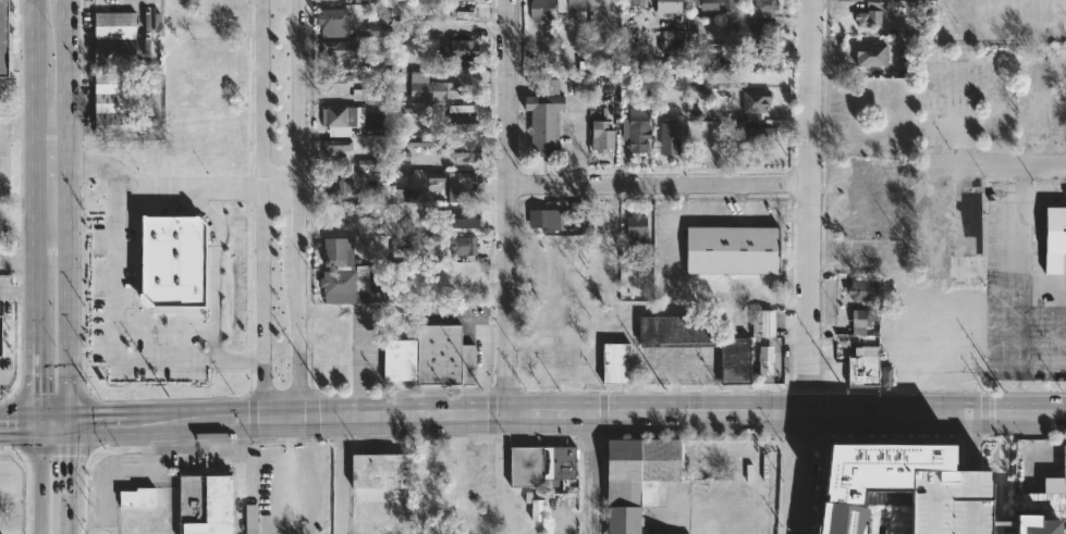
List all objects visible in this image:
building: (462, 0)
building: (638, 2)
building: (710, 4)
building: (665, 5)
building: (549, 8)
building: (759, 8)
building: (463, 11)
building: (869, 16)
building: (332, 17)
park: (1001, 22)
building: (113, 24)
building: (373, 29)
building: (755, 30)
building: (5, 38)
building: (675, 39)
building: (456, 49)
building: (334, 50)
building: (111, 53)
building: (868, 55)
building: (759, 60)
building: (396, 77)
building: (333, 82)
building: (429, 87)
building: (368, 94)
building: (752, 101)
building: (112, 104)
building: (462, 108)
building: (541, 117)
building: (340, 119)
road: (19, 122)
road: (52, 122)
building: (458, 123)
building: (996, 123)
building: (375, 124)
building: (634, 129)
building: (599, 136)
building: (757, 136)
building: (666, 138)
building: (419, 140)
building: (334, 148)
building: (461, 149)
road: (99, 162)
building: (366, 164)
road: (993, 165)
road: (1, 170)
parking lot: (3, 176)
building: (437, 179)
road: (210, 182)
road: (660, 184)
building: (327, 185)
building: (460, 186)
building: (402, 195)
road: (265, 208)
road: (296, 208)
road: (509, 208)
road: (37, 209)
road: (69, 209)
building: (460, 218)
building: (548, 220)
building: (635, 229)
building: (1054, 239)
building: (461, 246)
road: (1012, 248)
building: (732, 250)
building: (334, 252)
building: (173, 261)
road: (809, 266)
building: (960, 266)
building: (334, 282)
building: (867, 289)
road: (19, 294)
parking lot: (4, 295)
parking lot: (138, 315)
building: (859, 320)
building: (761, 322)
building: (674, 331)
building: (0, 337)
road: (115, 339)
building: (427, 357)
building: (731, 359)
building: (613, 362)
building: (763, 362)
road: (358, 363)
building: (861, 365)
parking lot: (5, 373)
building: (886, 376)
road: (3, 380)
road: (1026, 387)
road: (665, 413)
road: (148, 417)
road: (247, 417)
road: (52, 418)
traffic signals: (66, 418)
road: (19, 419)
traffic signals: (38, 419)
road: (38, 426)
road: (196, 434)
road: (198, 451)
building: (1063, 459)
road: (65, 461)
building: (560, 461)
road: (285, 462)
building: (523, 465)
building: (379, 470)
road: (341, 474)
road: (592, 474)
building: (632, 477)
road: (38, 484)
parking lot: (295, 489)
building: (860, 489)
building: (139, 496)
building: (951, 500)
parking garage: (951, 500)
building: (1039, 500)
building: (204, 502)
building: (534, 507)
building: (250, 519)
road: (64, 520)
building: (1036, 525)

